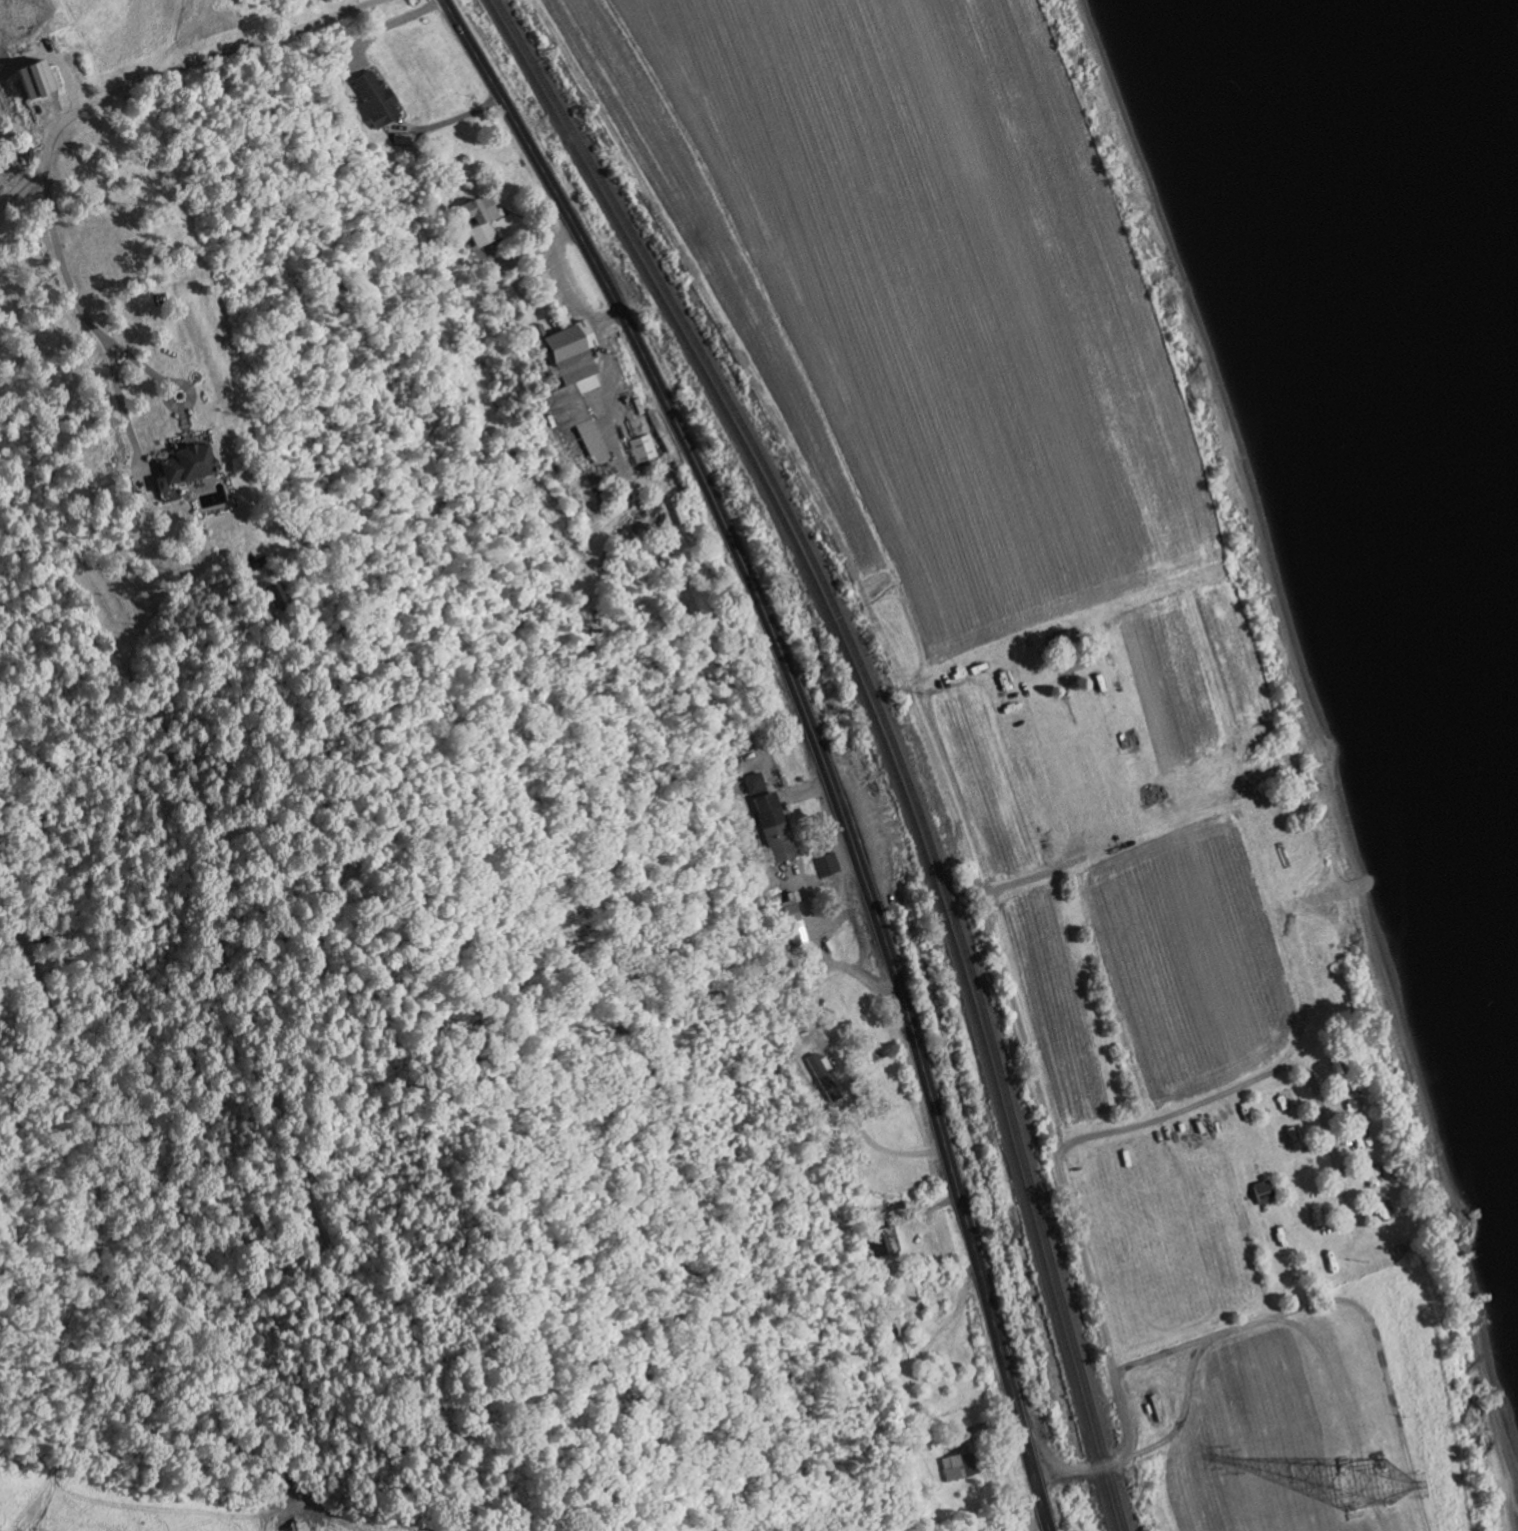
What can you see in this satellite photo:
road: (383, 22)
road: (189, 63)
road: (457, 117)
road: (19, 183)
road: (520, 254)
road: (563, 284)
road: (84, 315)
crop: (1067, 713)
road: (909, 726)
railway: (877, 733)
railway: (887, 733)
road: (810, 738)
road: (833, 910)
road: (862, 976)
road: (1268, 1077)
road: (843, 1088)
road: (1061, 1178)
road: (1272, 1317)
road: (1155, 1353)
power tower: (1364, 1492)
road: (1034, 1521)

